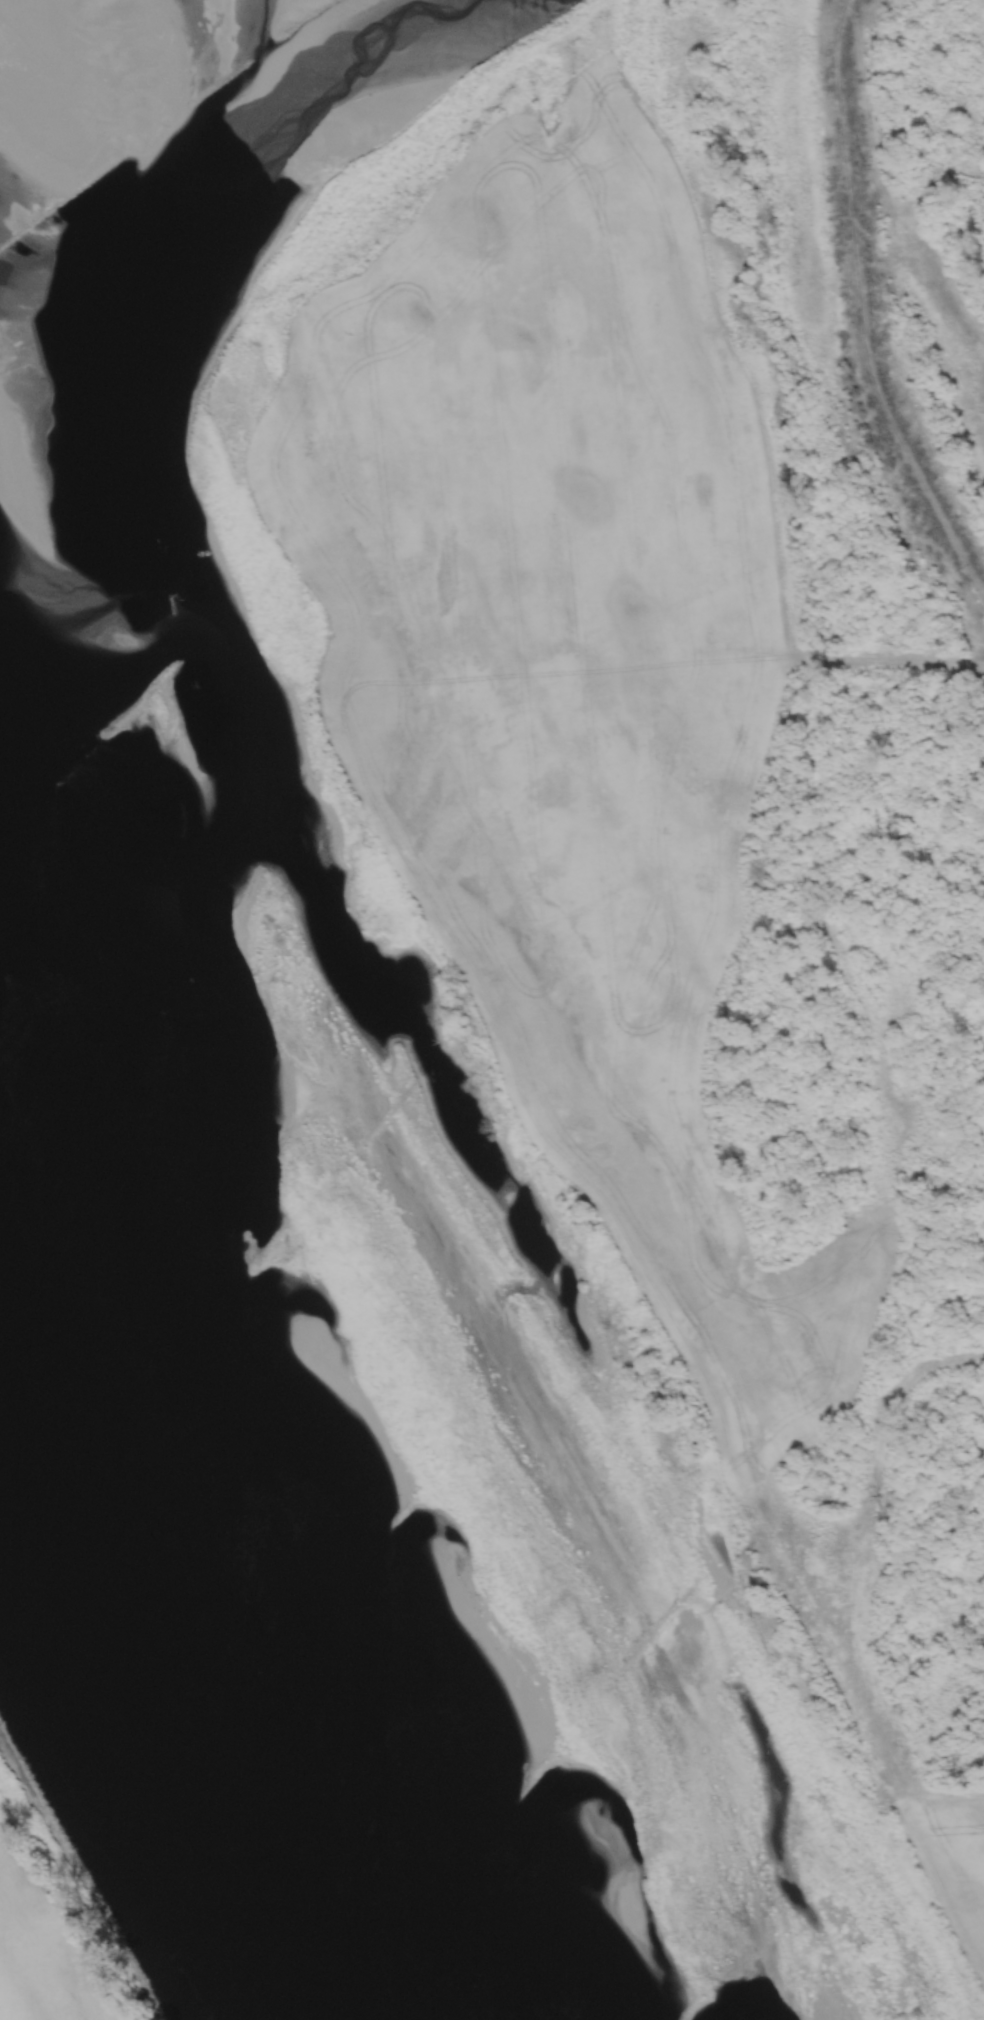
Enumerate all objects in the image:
river: (204, 1656)

